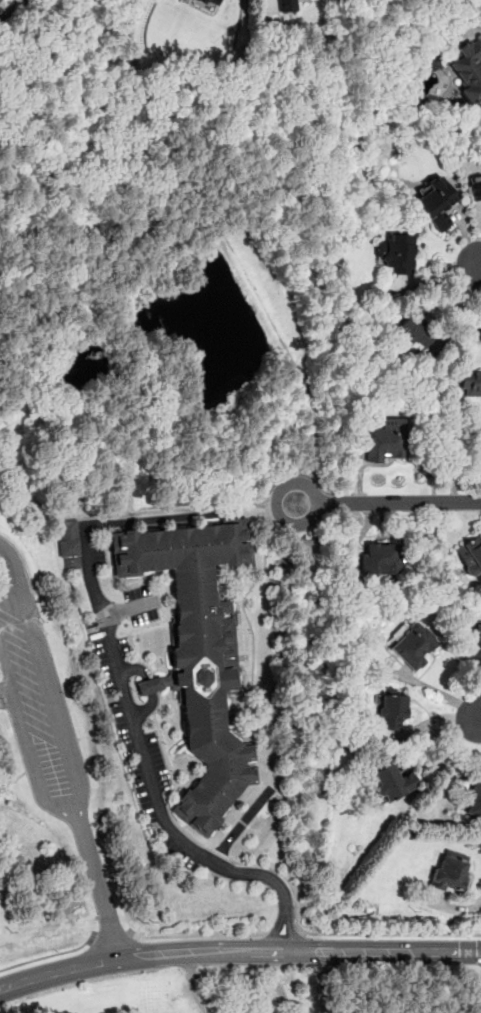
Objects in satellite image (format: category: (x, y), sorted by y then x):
building: (213, 2)
building: (287, 5)
building: (469, 70)
road: (301, 91)
park: (135, 158)
building: (475, 187)
building: (435, 203)
building: (398, 252)
road: (477, 265)
building: (414, 331)
building: (479, 332)
building: (470, 384)
building: (385, 439)
road: (455, 458)
road: (300, 471)
road: (398, 503)
road: (265, 505)
road: (275, 509)
road: (179, 516)
building: (70, 544)
building: (470, 554)
building: (379, 557)
road: (133, 606)
building: (413, 644)
building: (476, 648)
building: (198, 650)
road: (152, 685)
parking lot: (28, 686)
road: (434, 692)
road: (128, 701)
building: (390, 708)
road: (241, 712)
road: (478, 716)
road: (157, 722)
road: (74, 764)
park: (51, 777)
building: (392, 782)
building: (474, 799)
building: (451, 871)
road: (258, 873)
road: (99, 883)
road: (277, 928)
road: (282, 933)
road: (390, 933)
road: (193, 934)
road: (291, 934)
road: (110, 939)
road: (209, 941)
road: (392, 950)
road: (50, 954)
road: (209, 957)
road: (57, 972)

